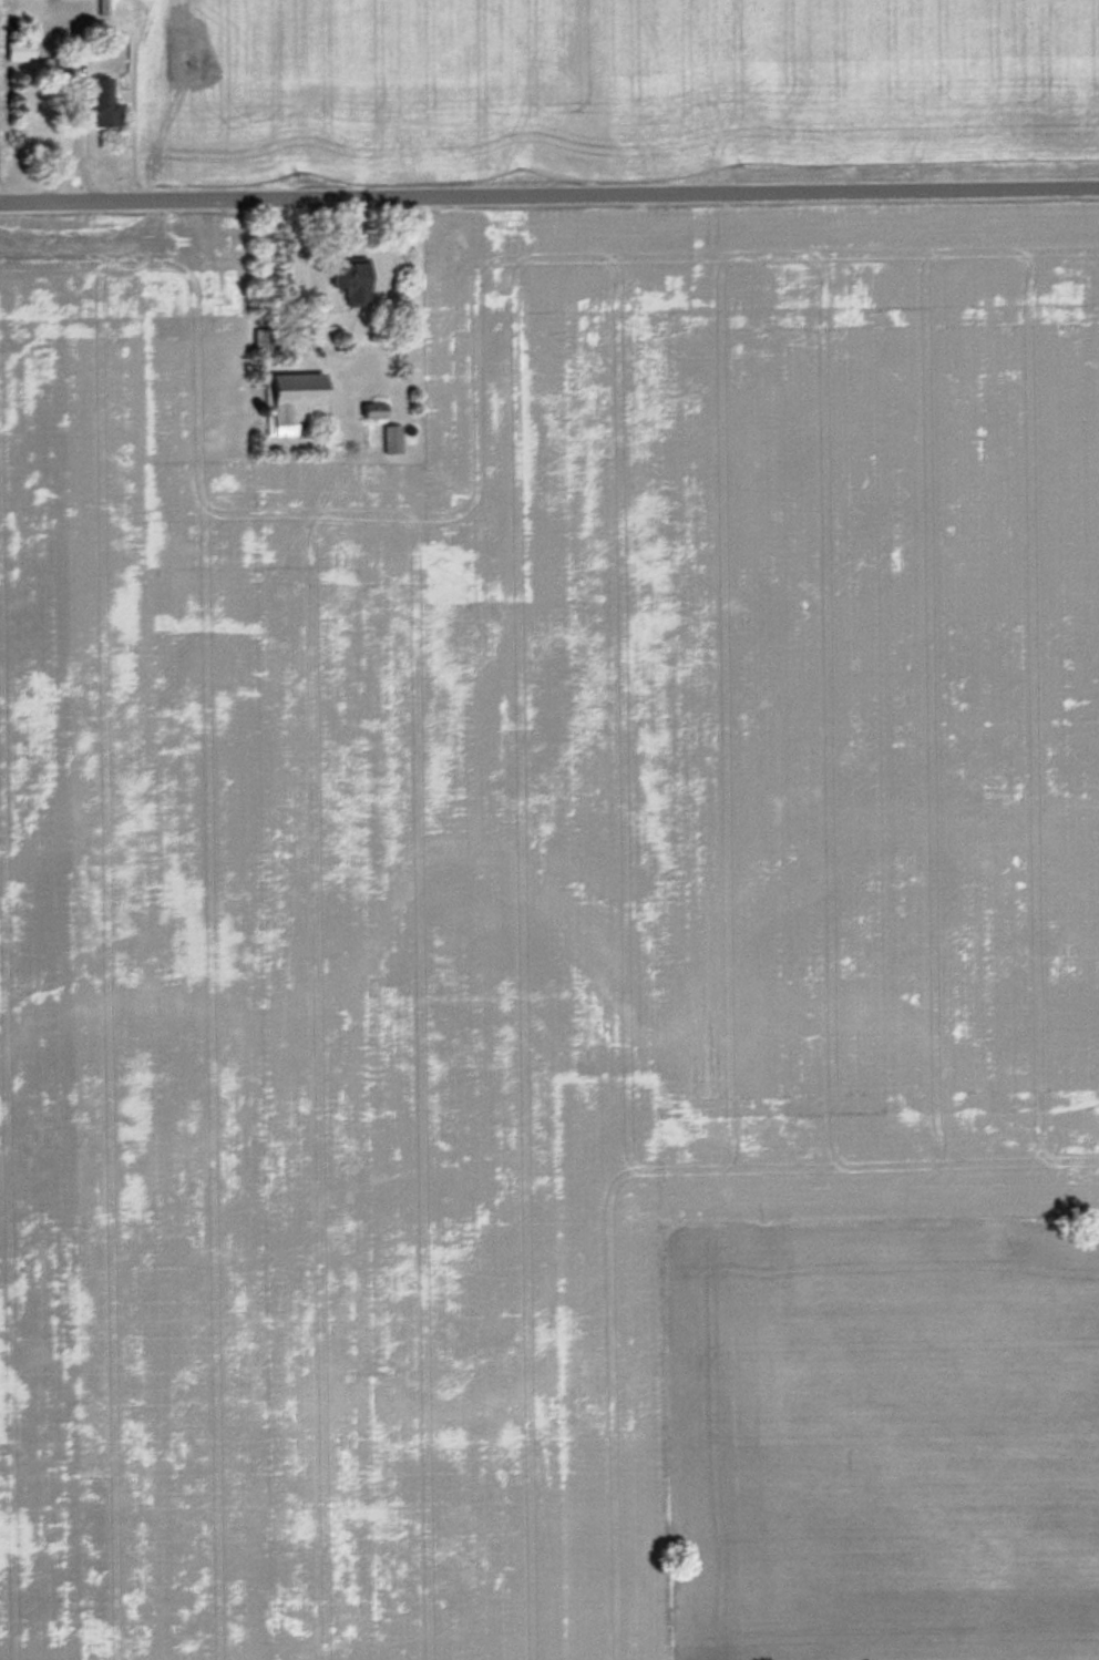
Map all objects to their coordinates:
building: (21, 48)
road: (82, 85)
building: (105, 101)
road: (80, 148)
road: (549, 195)
road: (304, 277)
building: (356, 280)
building: (263, 339)
building: (297, 399)

